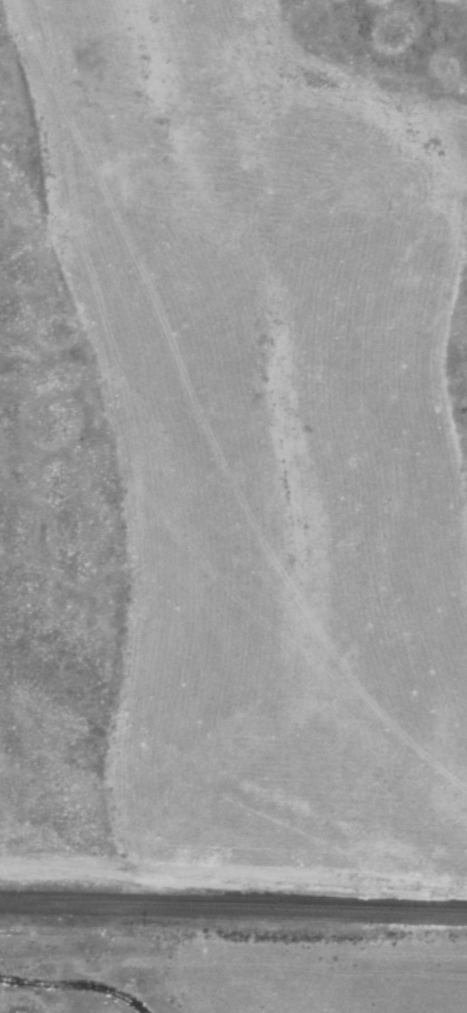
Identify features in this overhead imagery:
road: (233, 908)
road: (76, 984)

